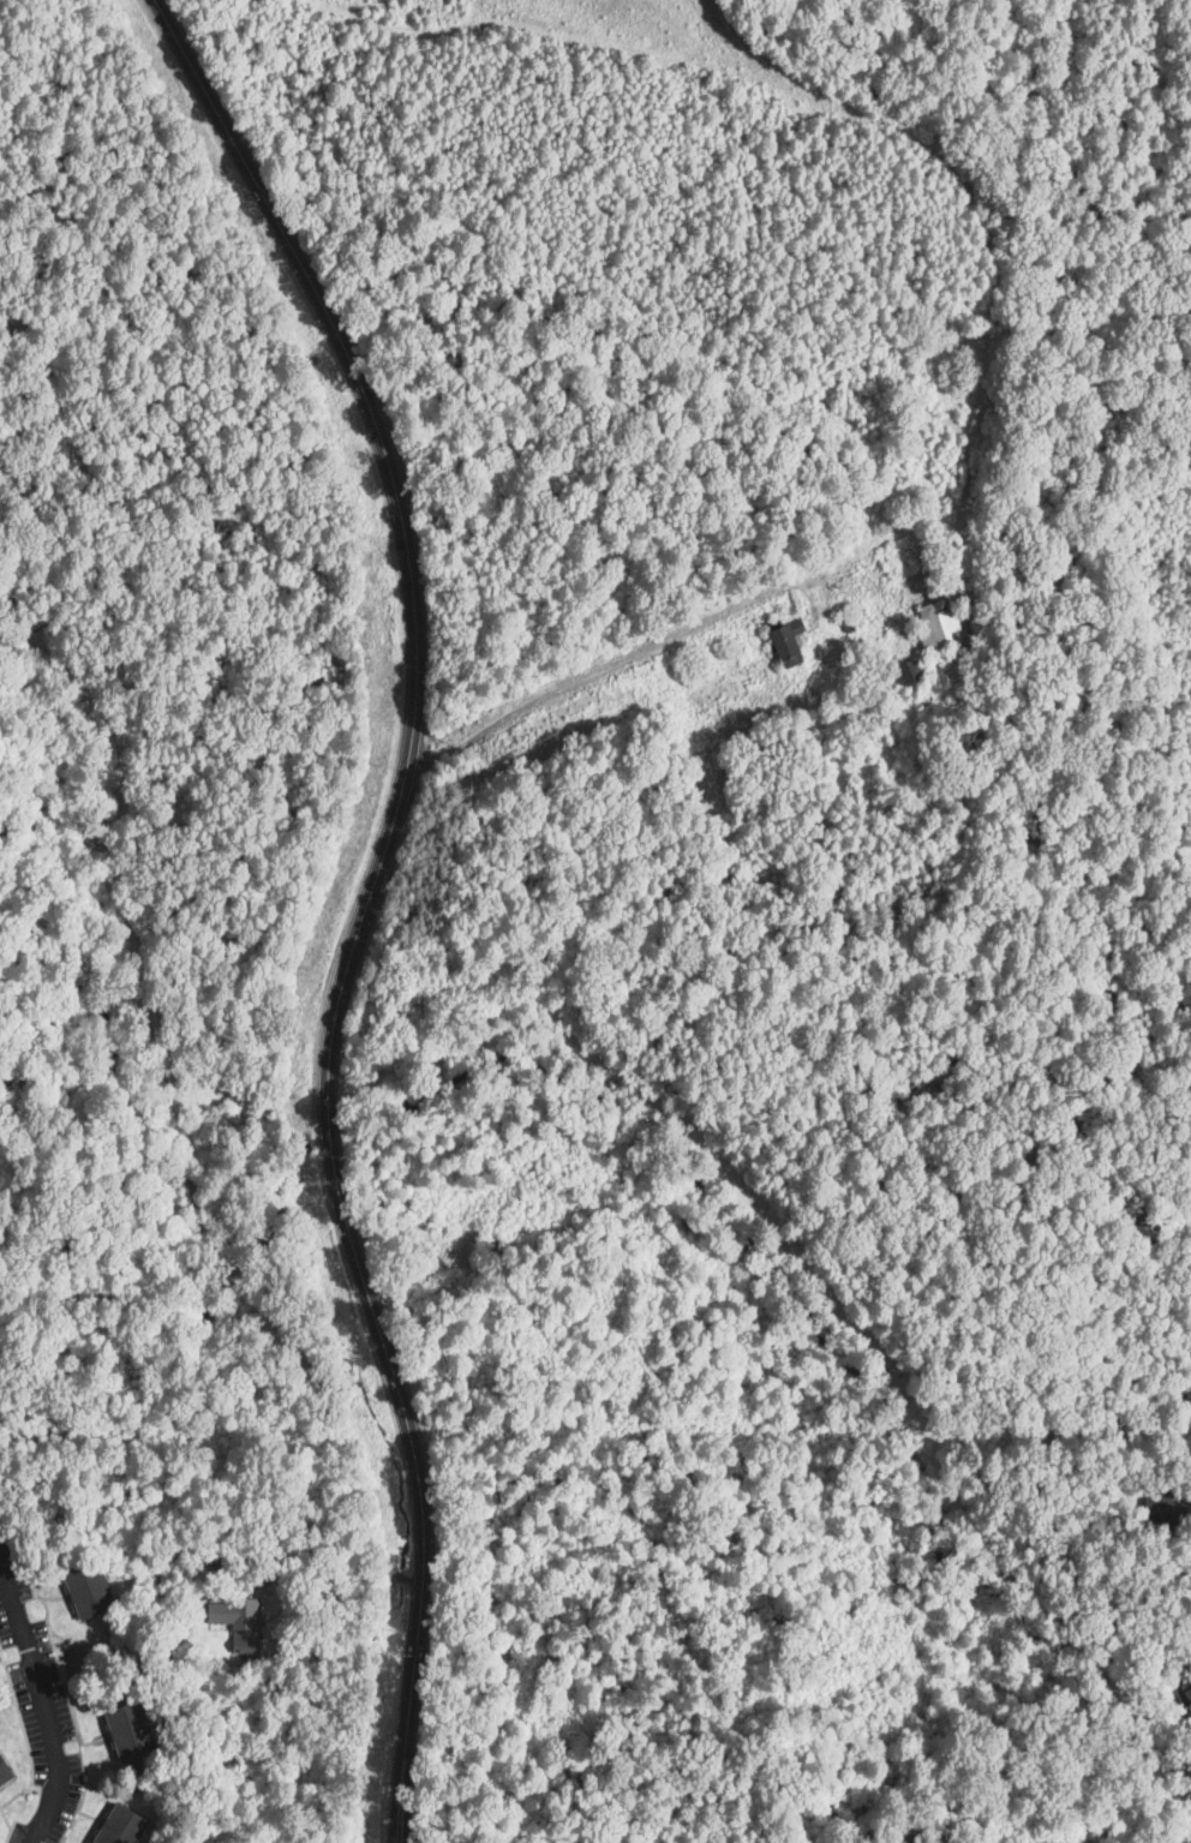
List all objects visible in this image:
road: (415, 626)
building: (941, 626)
building: (784, 642)
building: (905, 671)
road: (589, 672)
road: (269, 1552)
road: (423, 1566)
building: (92, 1590)
building: (240, 1620)
building: (1186, 1695)
road: (42, 1701)
building: (134, 1729)
building: (6, 1770)
building: (127, 1825)

